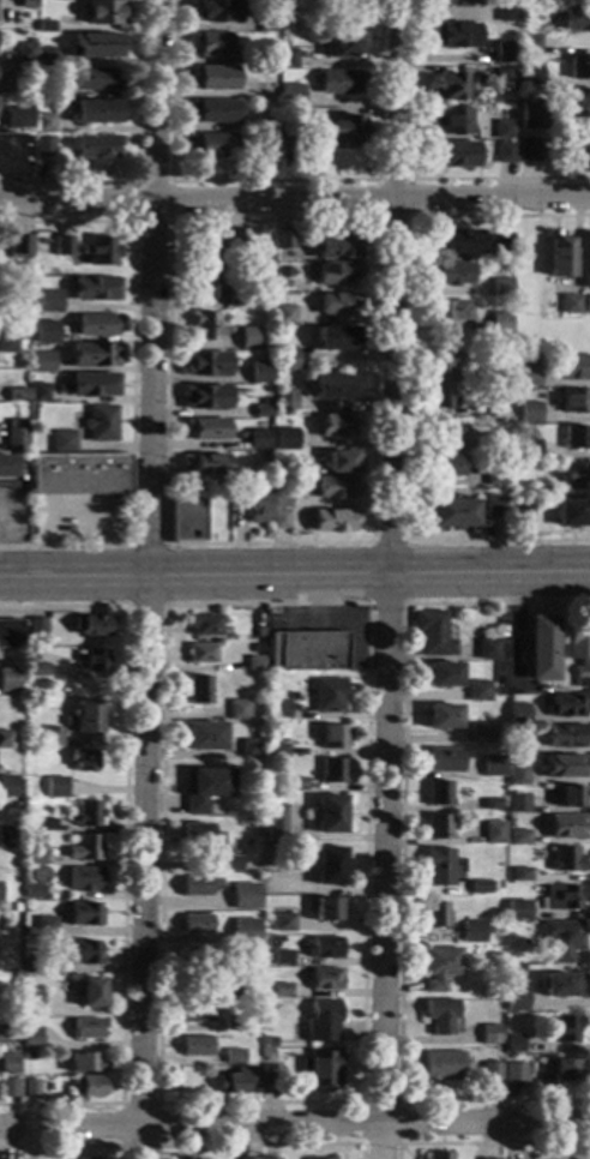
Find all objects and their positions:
building: (459, 2)
building: (26, 4)
building: (216, 11)
building: (505, 12)
building: (104, 13)
building: (576, 19)
building: (267, 22)
building: (43, 26)
building: (453, 35)
building: (210, 43)
building: (342, 44)
building: (95, 46)
building: (528, 46)
building: (24, 52)
building: (501, 52)
building: (43, 56)
building: (266, 59)
building: (285, 59)
building: (578, 67)
building: (267, 70)
building: (529, 74)
building: (211, 78)
building: (95, 79)
building: (501, 79)
building: (20, 82)
building: (338, 82)
building: (447, 88)
building: (42, 95)
building: (290, 95)
building: (576, 101)
building: (92, 110)
building: (211, 112)
building: (261, 115)
building: (530, 116)
building: (17, 118)
building: (451, 120)
building: (43, 124)
building: (266, 126)
building: (287, 128)
building: (502, 128)
building: (344, 132)
building: (267, 142)
building: (210, 145)
building: (43, 146)
building: (96, 146)
building: (578, 148)
building: (528, 150)
building: (502, 152)
building: (10, 154)
building: (453, 154)
road: (137, 158)
road: (409, 179)
road: (273, 180)
road: (407, 180)
road: (169, 181)
road: (295, 200)
road: (170, 220)
building: (283, 240)
building: (456, 242)
building: (64, 246)
building: (217, 246)
building: (502, 246)
building: (19, 247)
building: (337, 247)
building: (101, 251)
building: (559, 256)
building: (585, 260)
building: (13, 264)
building: (35, 272)
building: (336, 274)
building: (450, 274)
building: (284, 284)
building: (205, 286)
building: (501, 287)
building: (96, 289)
building: (235, 296)
building: (50, 301)
building: (337, 304)
building: (570, 305)
building: (586, 305)
building: (7, 307)
building: (448, 310)
building: (284, 314)
building: (97, 324)
building: (500, 324)
building: (205, 326)
building: (40, 337)
building: (249, 338)
building: (337, 338)
building: (266, 341)
building: (7, 342)
building: (94, 356)
building: (285, 359)
building: (43, 362)
building: (441, 362)
building: (205, 364)
building: (576, 367)
building: (492, 371)
building: (259, 372)
building: (528, 376)
road: (133, 380)
road: (405, 382)
building: (94, 385)
building: (333, 386)
building: (494, 390)
building: (38, 392)
building: (17, 395)
building: (205, 397)
building: (438, 398)
building: (284, 401)
building: (574, 401)
building: (481, 410)
building: (263, 412)
building: (529, 413)
building: (101, 422)
building: (336, 425)
building: (206, 428)
building: (440, 431)
building: (16, 436)
building: (284, 438)
building: (576, 438)
building: (258, 439)
building: (496, 440)
building: (62, 442)
building: (528, 450)
building: (342, 462)
building: (206, 464)
building: (445, 466)
building: (6, 469)
building: (494, 472)
building: (79, 475)
building: (576, 475)
building: (260, 480)
building: (337, 487)
building: (538, 492)
building: (281, 500)
building: (258, 508)
building: (496, 509)
building: (520, 511)
building: (452, 512)
building: (572, 514)
parking lot: (78, 517)
building: (186, 520)
building: (278, 520)
building: (333, 521)
road: (48, 540)
road: (100, 540)
road: (387, 542)
road: (147, 545)
road: (150, 578)
road: (294, 578)
road: (390, 579)
road: (369, 603)
road: (387, 603)
road: (149, 606)
building: (92, 625)
building: (204, 625)
building: (36, 626)
building: (259, 632)
building: (10, 633)
building: (432, 633)
building: (487, 649)
building: (541, 649)
building: (307, 650)
building: (579, 653)
building: (201, 654)
building: (31, 656)
building: (96, 659)
building: (255, 662)
building: (37, 669)
building: (442, 674)
building: (8, 679)
building: (198, 690)
building: (477, 691)
building: (329, 695)
building: (566, 705)
building: (278, 709)
building: (239, 710)
building: (517, 714)
building: (88, 716)
building: (441, 716)
building: (480, 732)
building: (205, 735)
building: (564, 735)
building: (53, 737)
building: (332, 737)
building: (4, 740)
building: (517, 744)
building: (249, 749)
building: (276, 749)
building: (84, 759)
building: (444, 759)
building: (492, 765)
building: (564, 767)
building: (331, 771)
building: (516, 775)
building: (277, 781)
building: (295, 783)
building: (7, 786)
building: (205, 788)
building: (64, 791)
building: (438, 794)
building: (570, 797)
building: (517, 803)
building: (492, 804)
building: (17, 807)
building: (88, 813)
building: (330, 813)
building: (276, 823)
building: (44, 824)
building: (565, 825)
building: (437, 827)
building: (493, 833)
building: (199, 835)
building: (6, 836)
building: (518, 836)
building: (86, 848)
road: (126, 849)
road: (402, 855)
building: (34, 858)
building: (565, 860)
building: (229, 864)
building: (327, 866)
building: (438, 867)
building: (520, 875)
building: (85, 879)
building: (199, 887)
building: (478, 887)
building: (34, 891)
building: (243, 896)
building: (561, 897)
building: (16, 907)
building: (325, 909)
building: (517, 909)
building: (529, 912)
building: (85, 914)
building: (435, 915)
building: (283, 923)
building: (197, 924)
building: (269, 925)
building: (46, 926)
building: (471, 931)
building: (245, 932)
building: (561, 939)
building: (325, 947)
building: (84, 953)
building: (281, 957)
building: (199, 961)
building: (32, 967)
building: (439, 967)
building: (325, 979)
building: (561, 985)
building: (228, 987)
building: (281, 990)
building: (89, 992)
building: (13, 995)
building: (514, 999)
building: (32, 1004)
building: (11, 1009)
building: (195, 1013)
building: (439, 1015)
building: (321, 1019)
building: (233, 1023)
building: (88, 1028)
building: (566, 1029)
building: (488, 1034)
building: (31, 1037)
building: (269, 1043)
building: (513, 1044)
building: (195, 1045)
building: (267, 1052)
building: (233, 1056)
building: (28, 1057)
building: (85, 1063)
building: (7, 1064)
building: (441, 1065)
building: (320, 1069)
building: (562, 1070)
building: (489, 1071)
building: (512, 1073)
building: (271, 1075)
building: (253, 1080)
building: (230, 1082)
building: (89, 1087)
building: (7, 1088)
building: (29, 1088)
road: (361, 1100)
road: (158, 1103)
road: (295, 1127)
road: (486, 1142)
road: (260, 1143)
road: (67, 1146)
building: (435, 1155)
building: (80, 1158)
building: (181, 1158)
building: (245, 1158)
building: (270, 1158)

